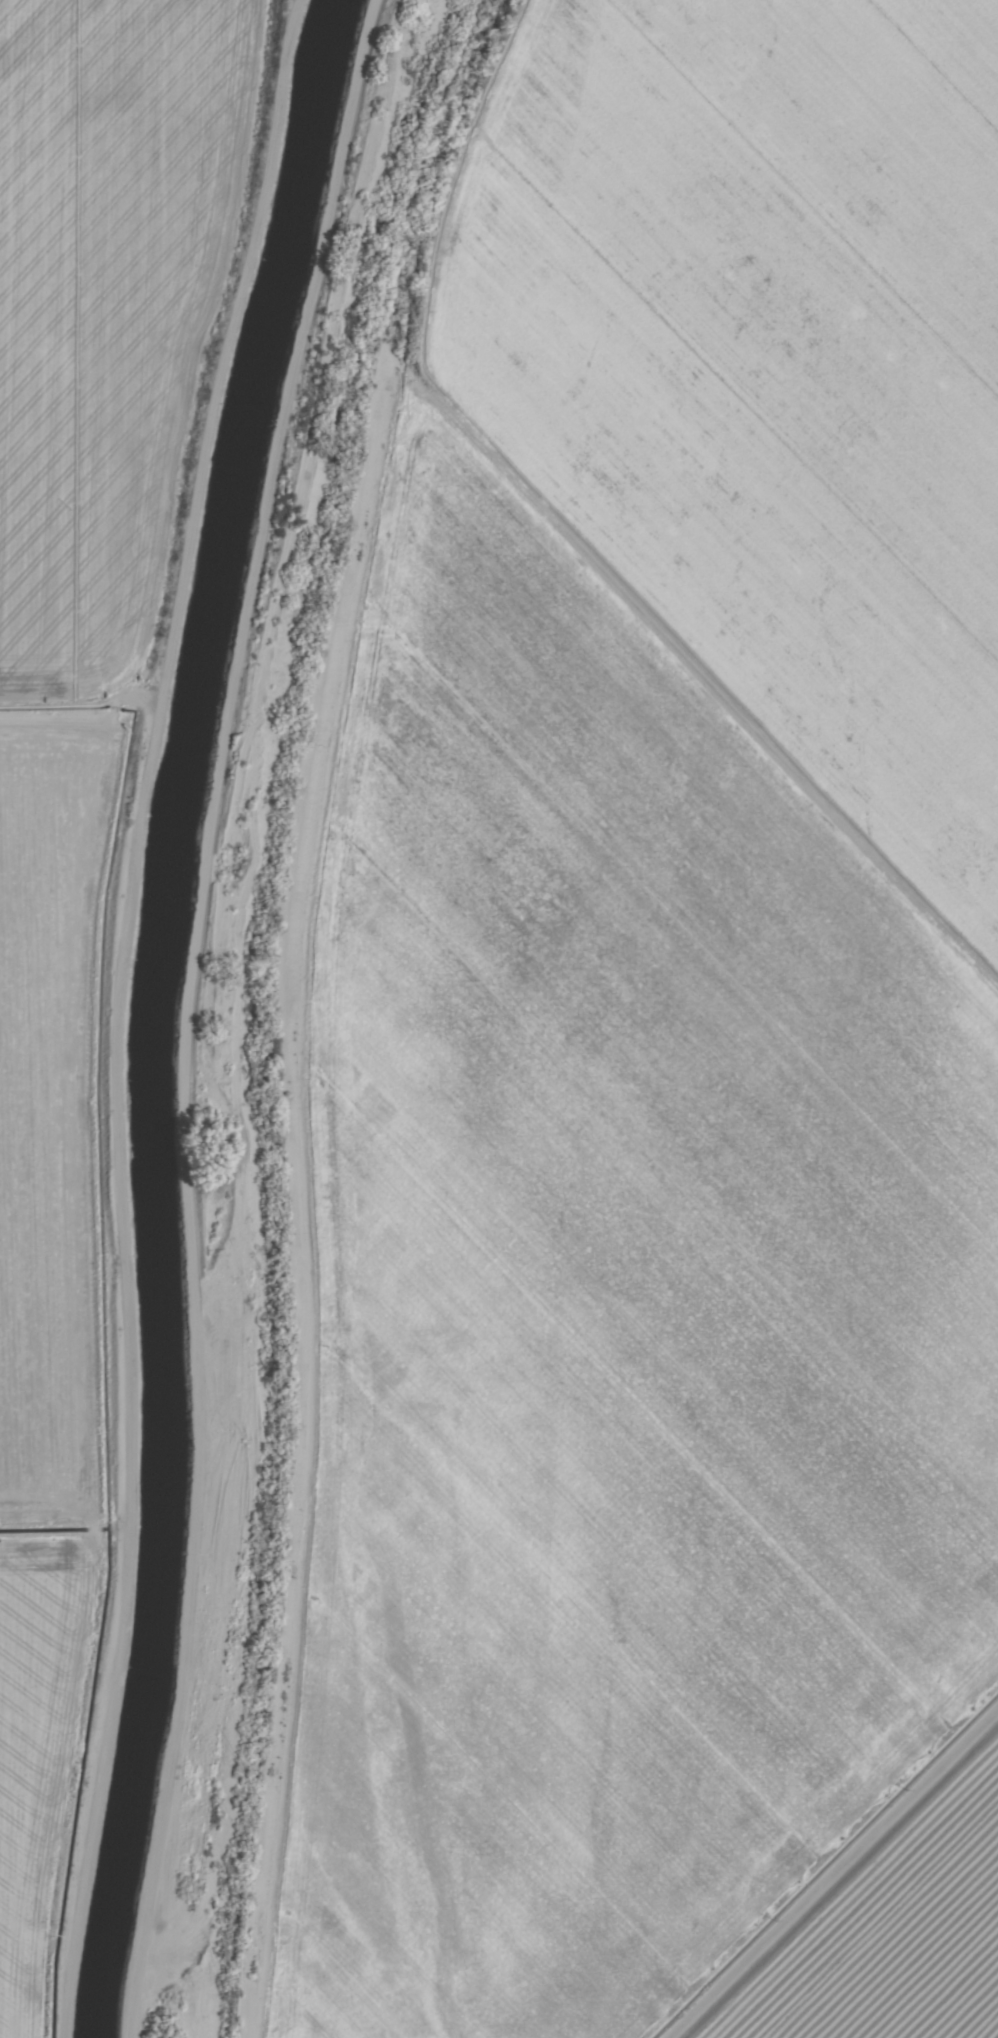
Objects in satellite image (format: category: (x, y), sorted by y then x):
crop: (766, 369)
crop: (619, 1317)
crop: (897, 1938)

